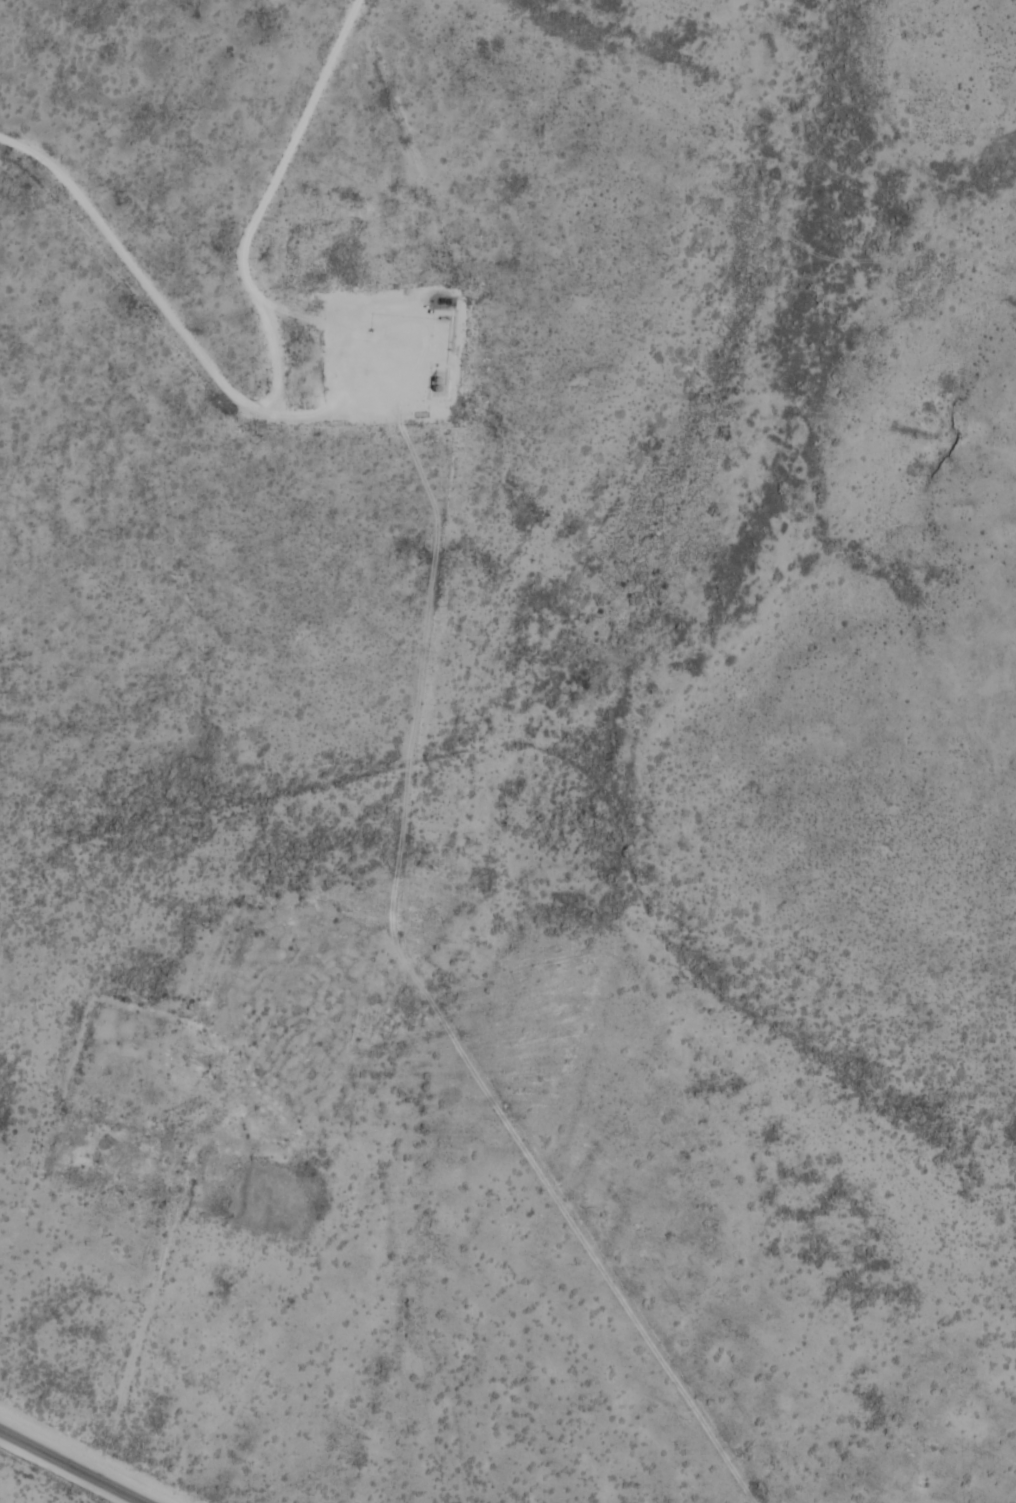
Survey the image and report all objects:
road: (151, 1299)
road: (72, 1466)

